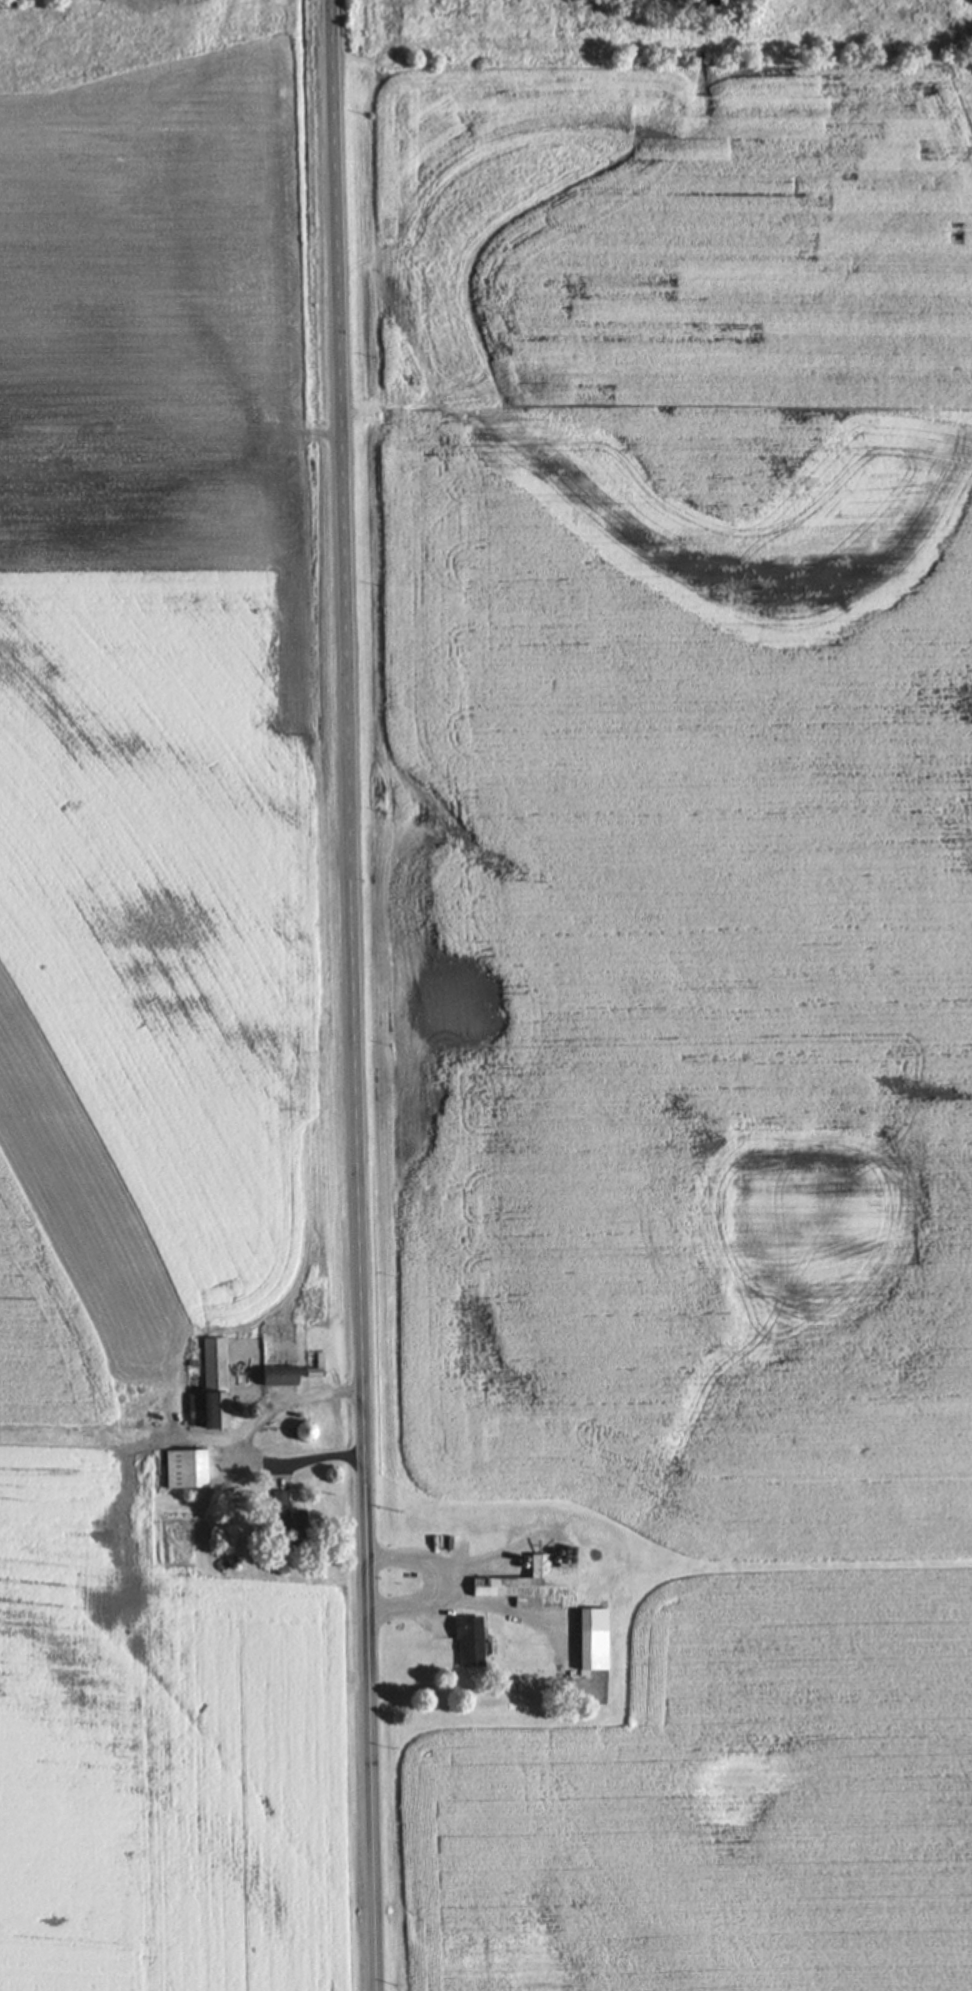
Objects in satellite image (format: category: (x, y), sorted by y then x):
road: (351, 995)
building: (317, 1365)
building: (143, 1373)
building: (281, 1373)
building: (211, 1386)
building: (307, 1430)
building: (187, 1466)
building: (293, 1524)
building: (535, 1583)
building: (595, 1636)
building: (471, 1639)

